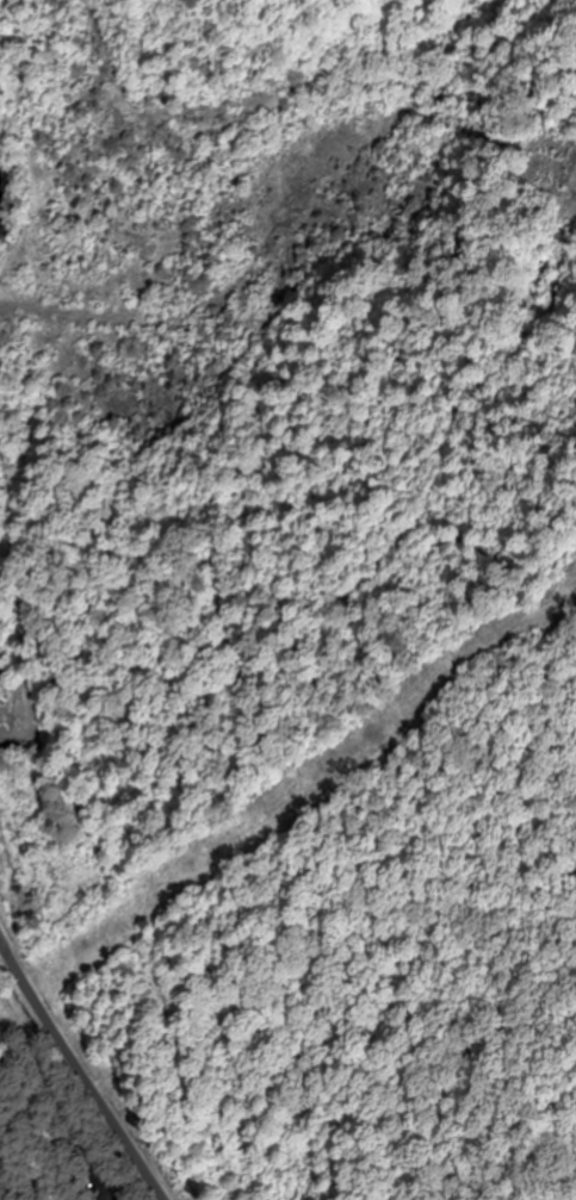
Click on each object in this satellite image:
road: (302, 778)
road: (75, 1067)

